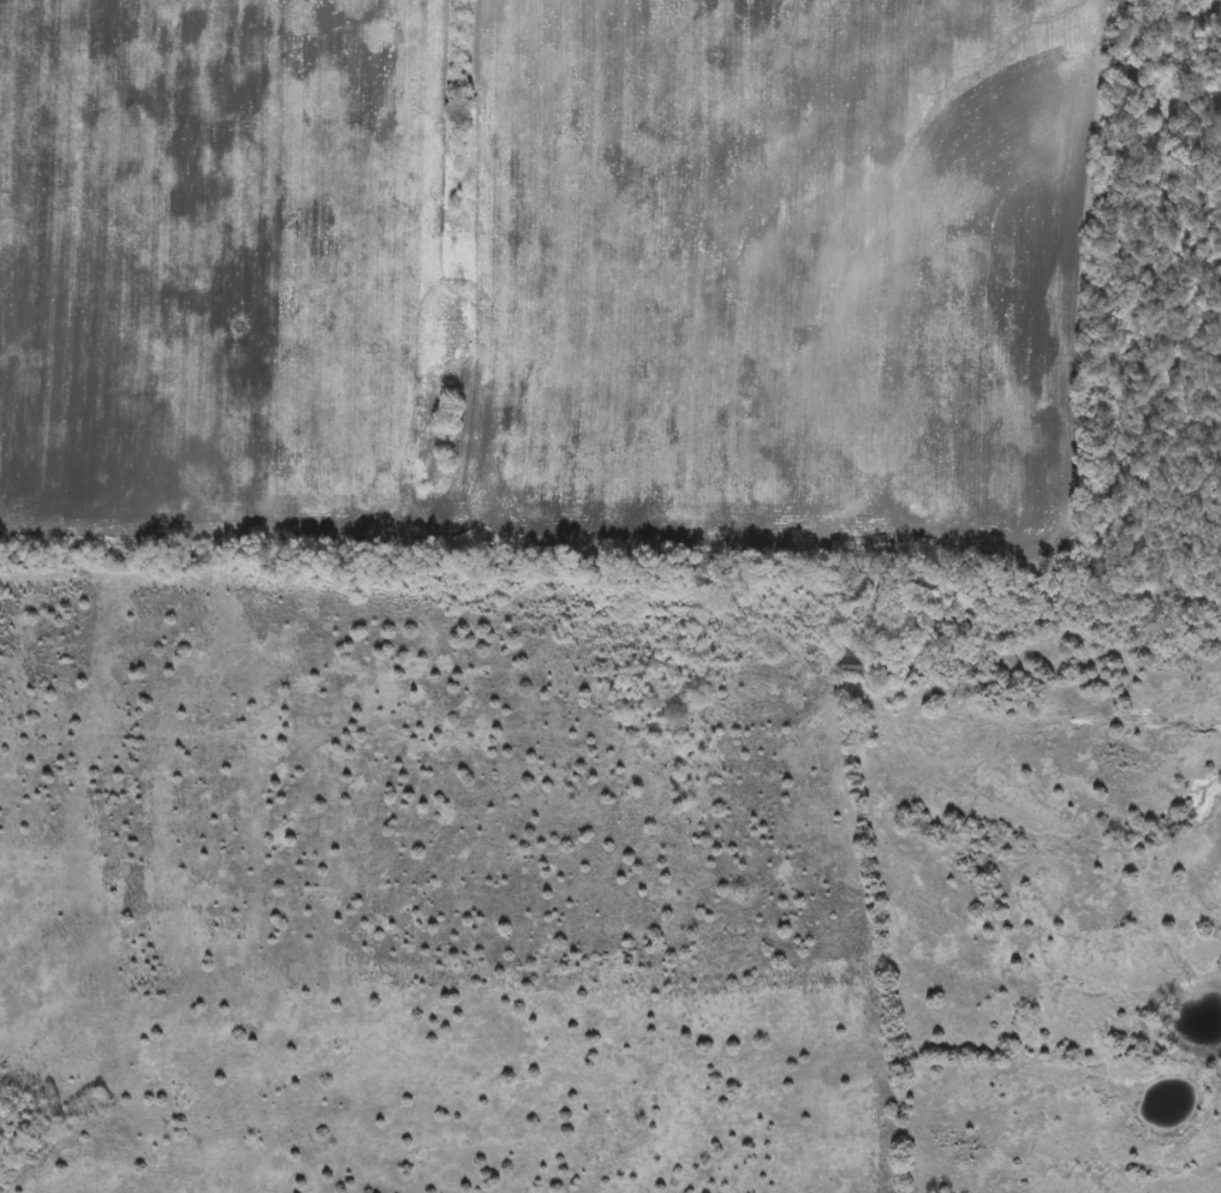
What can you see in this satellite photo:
building: (850, 663)

